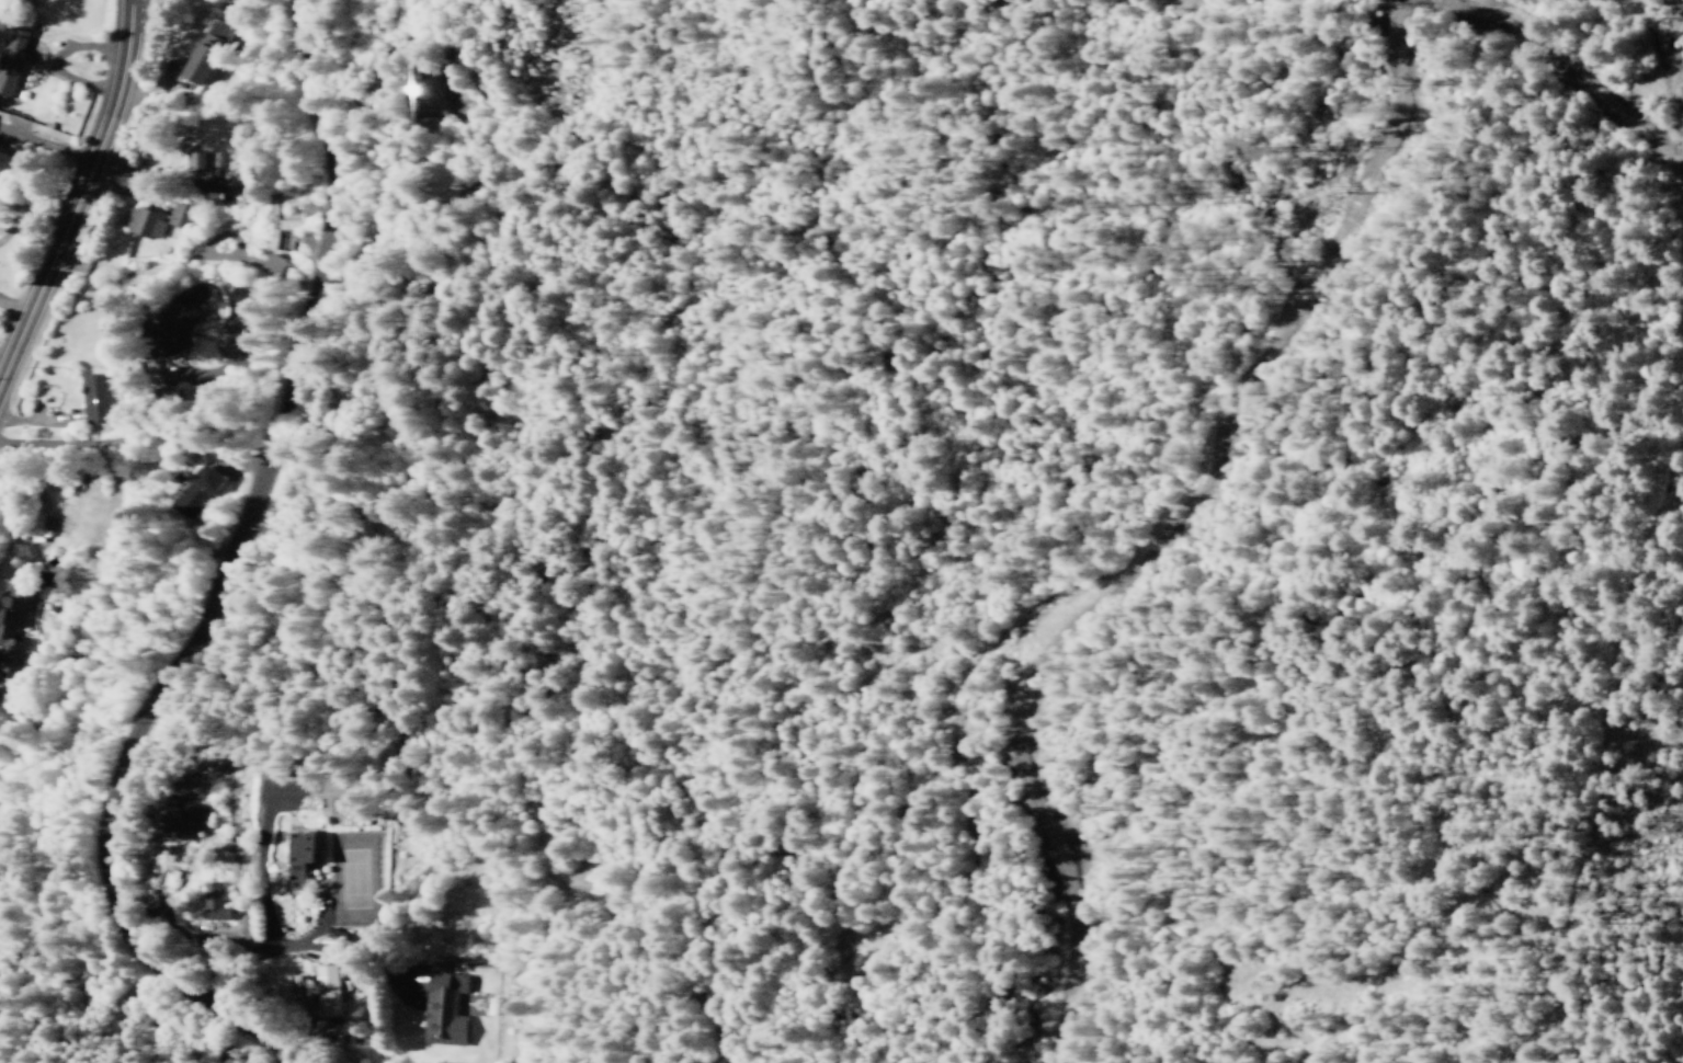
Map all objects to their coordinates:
building: (213, 33)
building: (11, 59)
road: (1662, 59)
building: (195, 64)
road: (1505, 121)
building: (201, 161)
building: (231, 190)
road: (80, 201)
road: (37, 202)
building: (179, 216)
building: (144, 222)
building: (268, 264)
building: (236, 295)
building: (174, 322)
building: (162, 393)
building: (93, 398)
building: (191, 494)
road: (216, 564)
road: (1600, 740)
building: (181, 818)
building: (296, 857)
building: (213, 902)
road: (320, 931)
building: (326, 991)
building: (442, 1008)

